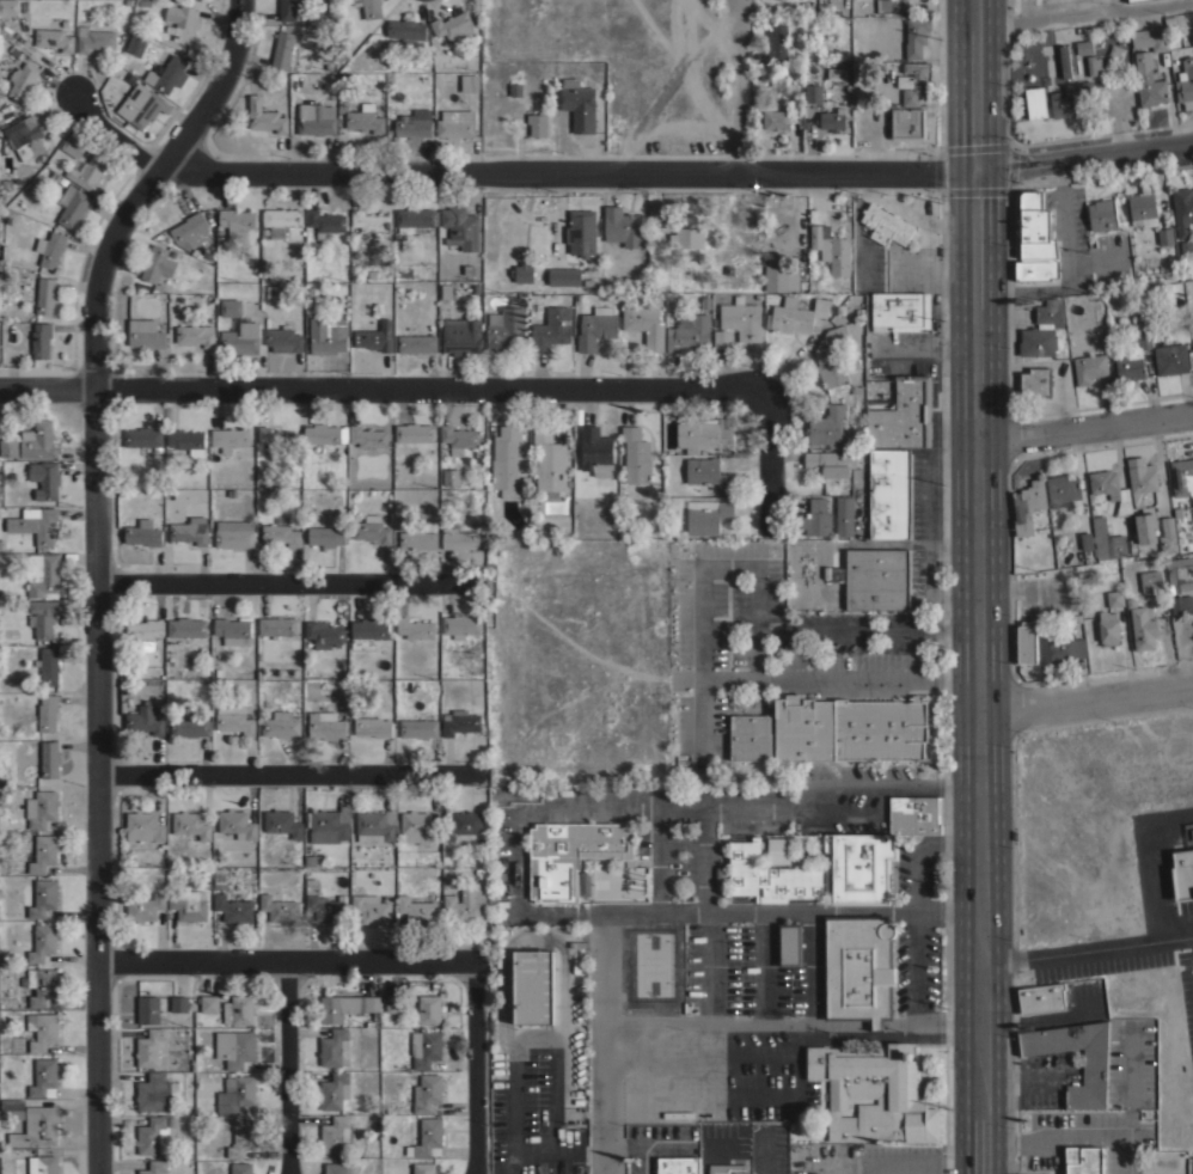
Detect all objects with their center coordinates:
building: (1127, 0)
building: (892, 5)
parking lot: (1058, 5)
road: (1113, 5)
building: (8, 7)
building: (369, 7)
building: (292, 8)
road: (1024, 10)
road: (1084, 13)
building: (182, 20)
building: (453, 25)
building: (406, 30)
building: (1192, 31)
building: (916, 36)
building: (54, 38)
building: (93, 38)
building: (1149, 39)
building: (777, 41)
building: (136, 44)
building: (1083, 47)
building: (282, 49)
building: (1064, 60)
building: (1093, 65)
building: (777, 69)
building: (167, 74)
road: (686, 77)
building: (23, 80)
building: (913, 80)
building: (469, 81)
building: (1148, 81)
building: (1185, 84)
road: (740, 85)
building: (813, 93)
building: (1070, 98)
building: (1035, 102)
building: (579, 104)
building: (141, 105)
building: (264, 116)
building: (316, 118)
building: (365, 118)
building: (776, 118)
building: (831, 118)
building: (907, 122)
building: (455, 123)
building: (414, 124)
building: (537, 124)
building: (25, 136)
building: (73, 146)
road: (1084, 155)
road: (512, 171)
traffic signals: (977, 171)
building: (88, 172)
building: (72, 206)
building: (1143, 209)
building: (1182, 209)
building: (657, 214)
building: (1102, 214)
building: (414, 218)
building: (237, 220)
building: (280, 220)
building: (369, 221)
building: (325, 222)
building: (885, 225)
building: (622, 226)
building: (460, 227)
building: (1035, 227)
building: (190, 230)
building: (581, 232)
building: (818, 234)
building: (1164, 236)
building: (687, 237)
parking lot: (898, 243)
building: (53, 249)
building: (839, 255)
building: (157, 263)
building: (1036, 268)
building: (522, 271)
building: (564, 275)
building: (779, 275)
building: (274, 291)
building: (445, 291)
building: (45, 295)
building: (231, 307)
building: (900, 311)
building: (796, 314)
building: (741, 318)
building: (644, 325)
building: (595, 326)
building: (504, 328)
building: (551, 329)
building: (1042, 329)
building: (145, 334)
building: (690, 334)
building: (196, 335)
building: (326, 336)
building: (460, 336)
building: (240, 337)
building: (285, 337)
building: (721, 337)
building: (41, 338)
building: (373, 340)
building: (416, 343)
building: (1132, 359)
building: (1170, 359)
building: (833, 360)
building: (1088, 367)
building: (1035, 381)
road: (377, 389)
building: (901, 417)
building: (826, 424)
road: (1084, 430)
building: (414, 432)
building: (324, 433)
building: (703, 435)
building: (367, 436)
building: (143, 438)
building: (230, 438)
building: (275, 438)
building: (458, 438)
building: (38, 440)
road: (769, 440)
building: (186, 441)
building: (8, 446)
building: (594, 447)
building: (636, 454)
building: (504, 460)
building: (549, 461)
building: (831, 461)
building: (708, 472)
road: (928, 473)
building: (1181, 476)
building: (451, 477)
building: (44, 478)
building: (1140, 478)
building: (1062, 488)
building: (1111, 489)
building: (889, 493)
building: (1028, 506)
building: (706, 515)
building: (844, 515)
building: (815, 518)
building: (35, 524)
building: (1145, 527)
building: (372, 528)
building: (190, 530)
building: (280, 532)
building: (142, 533)
building: (234, 533)
building: (326, 536)
building: (420, 536)
building: (1168, 536)
building: (457, 537)
building: (1087, 540)
building: (1109, 540)
road: (94, 567)
road: (925, 567)
building: (1180, 571)
building: (43, 575)
building: (873, 576)
road: (281, 580)
building: (1151, 580)
road: (978, 587)
building: (1114, 598)
road: (753, 603)
building: (43, 617)
building: (277, 625)
building: (460, 625)
building: (1142, 625)
building: (185, 626)
building: (415, 628)
building: (1108, 628)
building: (233, 631)
building: (367, 631)
building: (143, 632)
building: (323, 634)
road: (865, 635)
building: (1026, 642)
building: (1060, 649)
road: (753, 656)
building: (48, 665)
road: (867, 677)
road: (1087, 702)
building: (48, 713)
building: (146, 719)
building: (233, 720)
building: (459, 722)
building: (281, 723)
building: (190, 724)
building: (325, 724)
building: (373, 726)
building: (418, 728)
building: (832, 730)
building: (49, 758)
road: (285, 782)
road: (653, 806)
building: (42, 808)
building: (914, 814)
road: (1168, 814)
building: (282, 823)
building: (190, 824)
building: (237, 824)
building: (375, 825)
building: (461, 825)
building: (143, 826)
building: (326, 826)
building: (417, 827)
road: (948, 840)
building: (778, 850)
building: (43, 852)
building: (571, 856)
building: (819, 870)
building: (1182, 874)
building: (220, 878)
building: (721, 879)
road: (917, 880)
road: (1151, 880)
building: (43, 897)
building: (188, 904)
building: (465, 905)
building: (323, 906)
building: (145, 907)
building: (233, 909)
building: (279, 909)
building: (371, 909)
building: (416, 910)
road: (663, 912)
building: (42, 942)
building: (789, 944)
road: (1087, 952)
parking lot: (1185, 959)
road: (288, 962)
building: (857, 967)
building: (42, 985)
building: (533, 986)
building: (1041, 997)
building: (179, 1003)
building: (209, 1003)
building: (394, 1003)
building: (345, 1007)
building: (429, 1009)
building: (149, 1010)
building: (238, 1010)
building: (42, 1029)
road: (794, 1044)
building: (148, 1047)
building: (234, 1047)
building: (426, 1047)
building: (334, 1048)
road: (285, 1068)
building: (1094, 1069)
road: (473, 1076)
building: (43, 1077)
building: (334, 1090)
building: (157, 1092)
building: (429, 1093)
building: (873, 1093)
building: (235, 1094)
building: (12, 1108)
building: (677, 1114)
building: (37, 1126)
building: (335, 1133)
building: (153, 1136)
building: (241, 1137)
road: (1070, 1137)
building: (427, 1138)
road: (546, 1152)
building: (1083, 1160)
building: (45, 1164)
building: (678, 1164)
road: (919, 1164)
building: (154, 1167)
building: (240, 1168)
building: (338, 1168)
building: (423, 1168)
building: (727, 1168)

